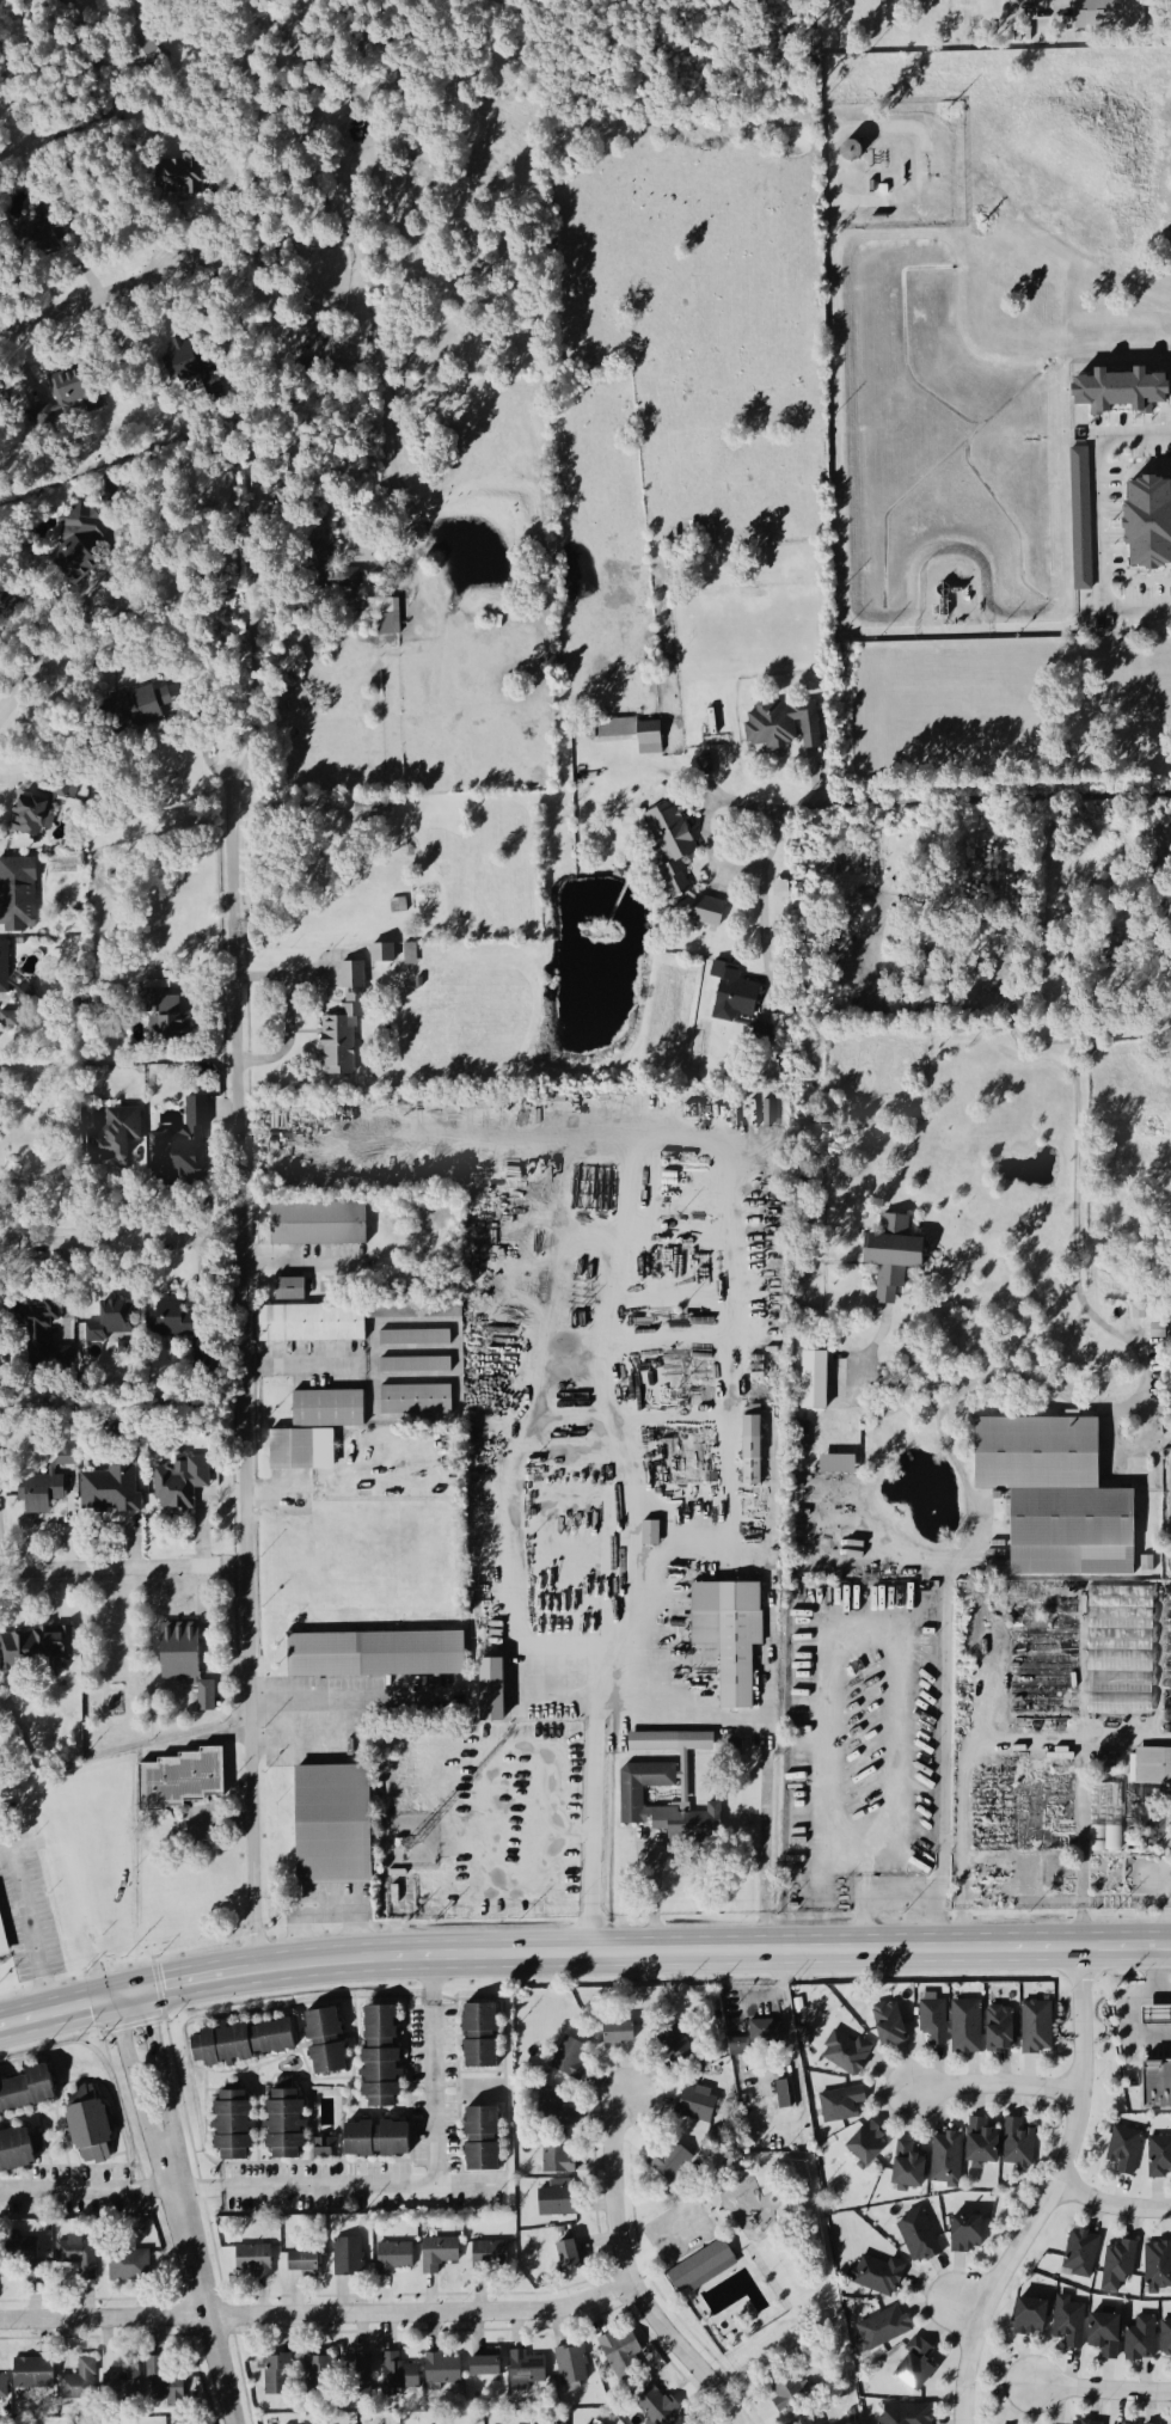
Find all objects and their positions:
road: (999, 6)
building: (1112, 13)
building: (853, 151)
building: (183, 177)
crop: (1050, 185)
building: (43, 238)
road: (87, 300)
building: (184, 357)
building: (72, 391)
building: (1124, 391)
building: (1083, 520)
road: (1106, 520)
building: (1152, 524)
building: (79, 541)
crop: (557, 558)
building: (362, 600)
building: (10, 606)
road: (88, 623)
road: (118, 663)
road: (255, 675)
road: (22, 685)
building: (139, 706)
building: (785, 726)
building: (633, 734)
road: (958, 798)
building: (33, 816)
building: (673, 847)
building: (18, 895)
park: (153, 905)
road: (764, 911)
building: (710, 912)
building: (382, 954)
building: (409, 955)
building: (4, 969)
building: (352, 977)
building: (734, 993)
building: (25, 994)
road: (284, 1011)
building: (164, 1015)
building: (8, 1021)
building: (341, 1039)
building: (117, 1137)
building: (183, 1149)
building: (319, 1224)
road: (104, 1239)
building: (894, 1255)
road: (295, 1266)
building: (290, 1290)
building: (413, 1311)
building: (173, 1318)
building: (111, 1323)
building: (312, 1323)
building: (41, 1333)
building: (415, 1338)
road: (369, 1359)
road: (275, 1361)
building: (415, 1365)
road: (241, 1371)
building: (815, 1379)
road: (979, 1381)
building: (416, 1401)
building: (329, 1409)
road: (1149, 1437)
building: (302, 1450)
building: (753, 1451)
building: (62, 1456)
building: (839, 1464)
building: (179, 1483)
building: (110, 1492)
building: (41, 1493)
building: (1059, 1496)
building: (651, 1534)
road: (108, 1568)
building: (730, 1634)
building: (1167, 1643)
building: (36, 1647)
building: (180, 1651)
building: (1121, 1652)
building: (378, 1653)
road: (643, 1655)
road: (894, 1655)
road: (945, 1655)
building: (0, 1664)
building: (493, 1690)
building: (1167, 1691)
building: (207, 1696)
road: (349, 1701)
building: (669, 1743)
road: (302, 1747)
road: (969, 1750)
building: (1152, 1768)
road: (766, 1773)
building: (178, 1781)
building: (664, 1807)
road: (591, 1812)
building: (1170, 1816)
building: (331, 1825)
building: (1104, 1840)
road: (1081, 1847)
road: (655, 1900)
road: (1167, 1914)
road: (31, 1923)
building: (2, 1946)
road: (582, 1953)
road: (1157, 1976)
road: (433, 1979)
traffic signals: (143, 1990)
traffic signals: (114, 1996)
road: (786, 2014)
building: (1158, 2016)
building: (933, 2019)
road: (1129, 2020)
building: (890, 2025)
building: (1035, 2026)
building: (967, 2027)
building: (760, 2030)
building: (1001, 2030)
building: (617, 2032)
building: (478, 2037)
building: (240, 2042)
building: (324, 2043)
building: (673, 2046)
building: (737, 2046)
building: (847, 2053)
building: (379, 2057)
building: (570, 2058)
road: (160, 2070)
road: (134, 2076)
building: (1159, 2085)
road: (999, 2088)
building: (25, 2089)
road: (434, 2091)
building: (785, 2095)
building: (841, 2104)
building: (694, 2105)
building: (553, 2110)
building: (86, 2122)
building: (283, 2124)
building: (231, 2125)
building: (375, 2140)
building: (480, 2140)
building: (866, 2142)
building: (980, 2142)
building: (1016, 2143)
building: (1123, 2149)
building: (14, 2150)
building: (323, 2150)
building: (558, 2156)
building: (1159, 2156)
building: (945, 2159)
building: (669, 2161)
building: (906, 2165)
road: (358, 2184)
road: (114, 2189)
road: (1054, 2195)
building: (556, 2202)
road: (1112, 2206)
building: (964, 2234)
building: (916, 2235)
building: (439, 2253)
building: (23, 2254)
building: (1079, 2254)
building: (78, 2257)
building: (348, 2257)
building: (566, 2257)
building: (394, 2258)
building: (489, 2258)
park: (743, 2260)
building: (252, 2261)
building: (301, 2264)
building: (1117, 2265)
building: (1158, 2265)
building: (128, 2266)
building: (700, 2269)
building: (877, 2275)
road: (630, 2277)
road: (200, 2287)
road: (968, 2308)
road: (318, 2314)
building: (1028, 2316)
building: (1068, 2321)
building: (882, 2328)
building: (1103, 2334)
building: (1165, 2338)
building: (1140, 2339)
building: (620, 2353)
building: (571, 2365)
building: (914, 2365)
building: (483, 2367)
building: (526, 2369)
building: (442, 2370)
building: (31, 2374)
building: (397, 2374)
building: (277, 2376)
building: (318, 2376)
building: (358, 2379)
building: (122, 2382)
building: (161, 2382)
building: (80, 2383)
building: (2, 2388)
building: (784, 2391)
road: (1102, 2392)
building: (656, 2406)
building: (905, 2414)
building: (803, 2422)
building: (811, 2422)
building: (1084, 2423)

